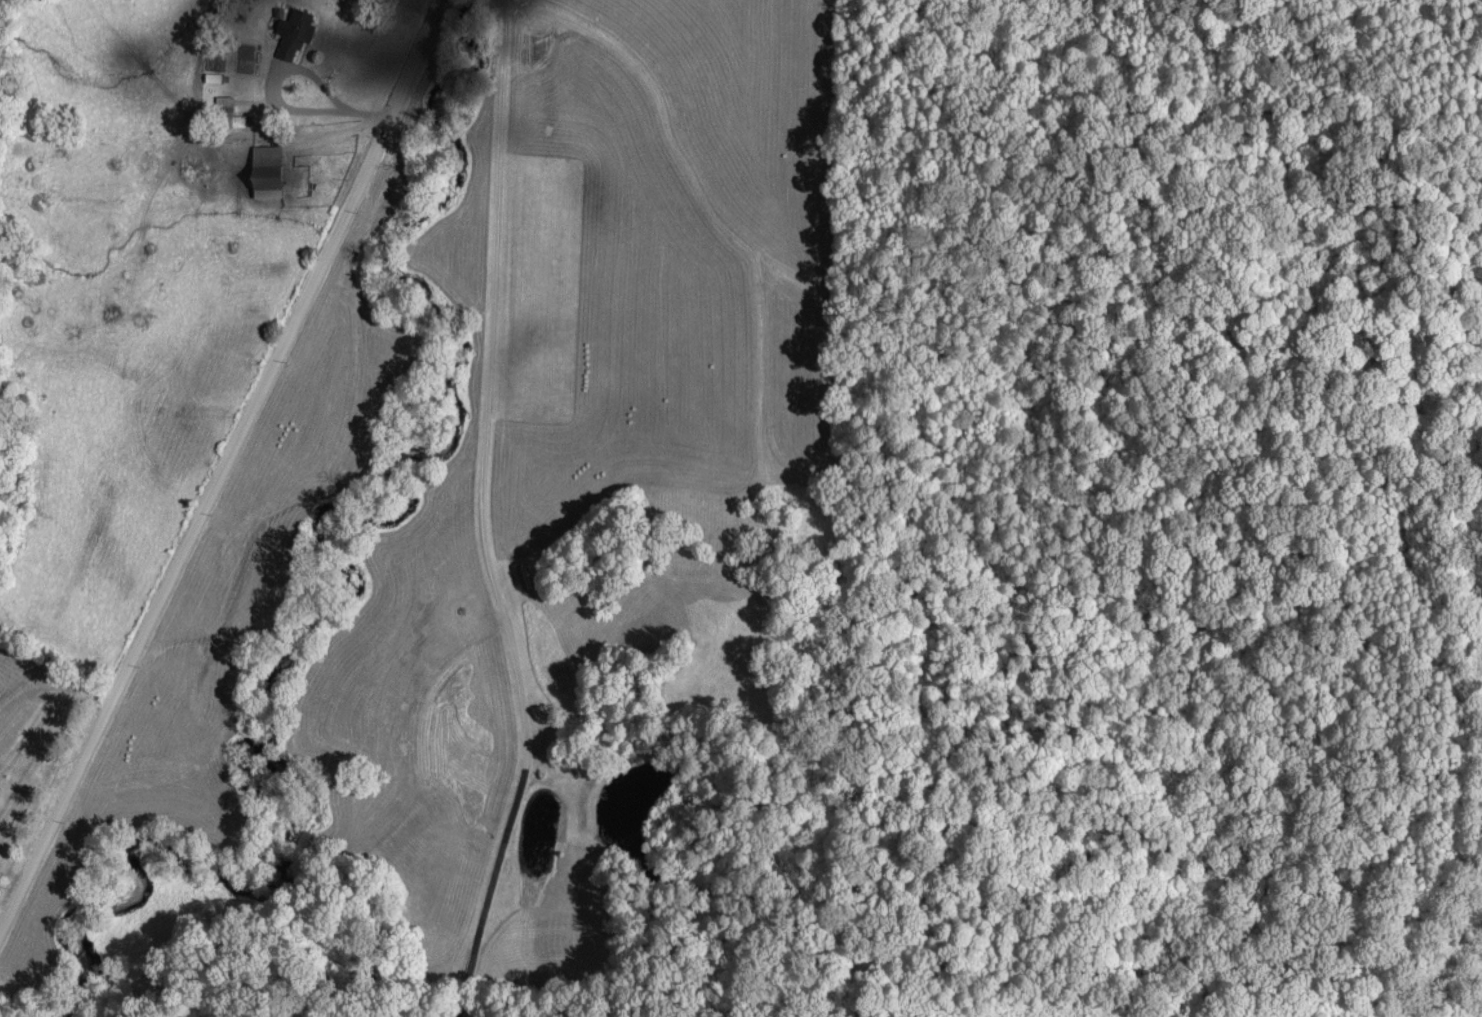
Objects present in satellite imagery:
building: (293, 32)
building: (232, 114)
building: (265, 170)
road: (218, 466)
road: (487, 516)

